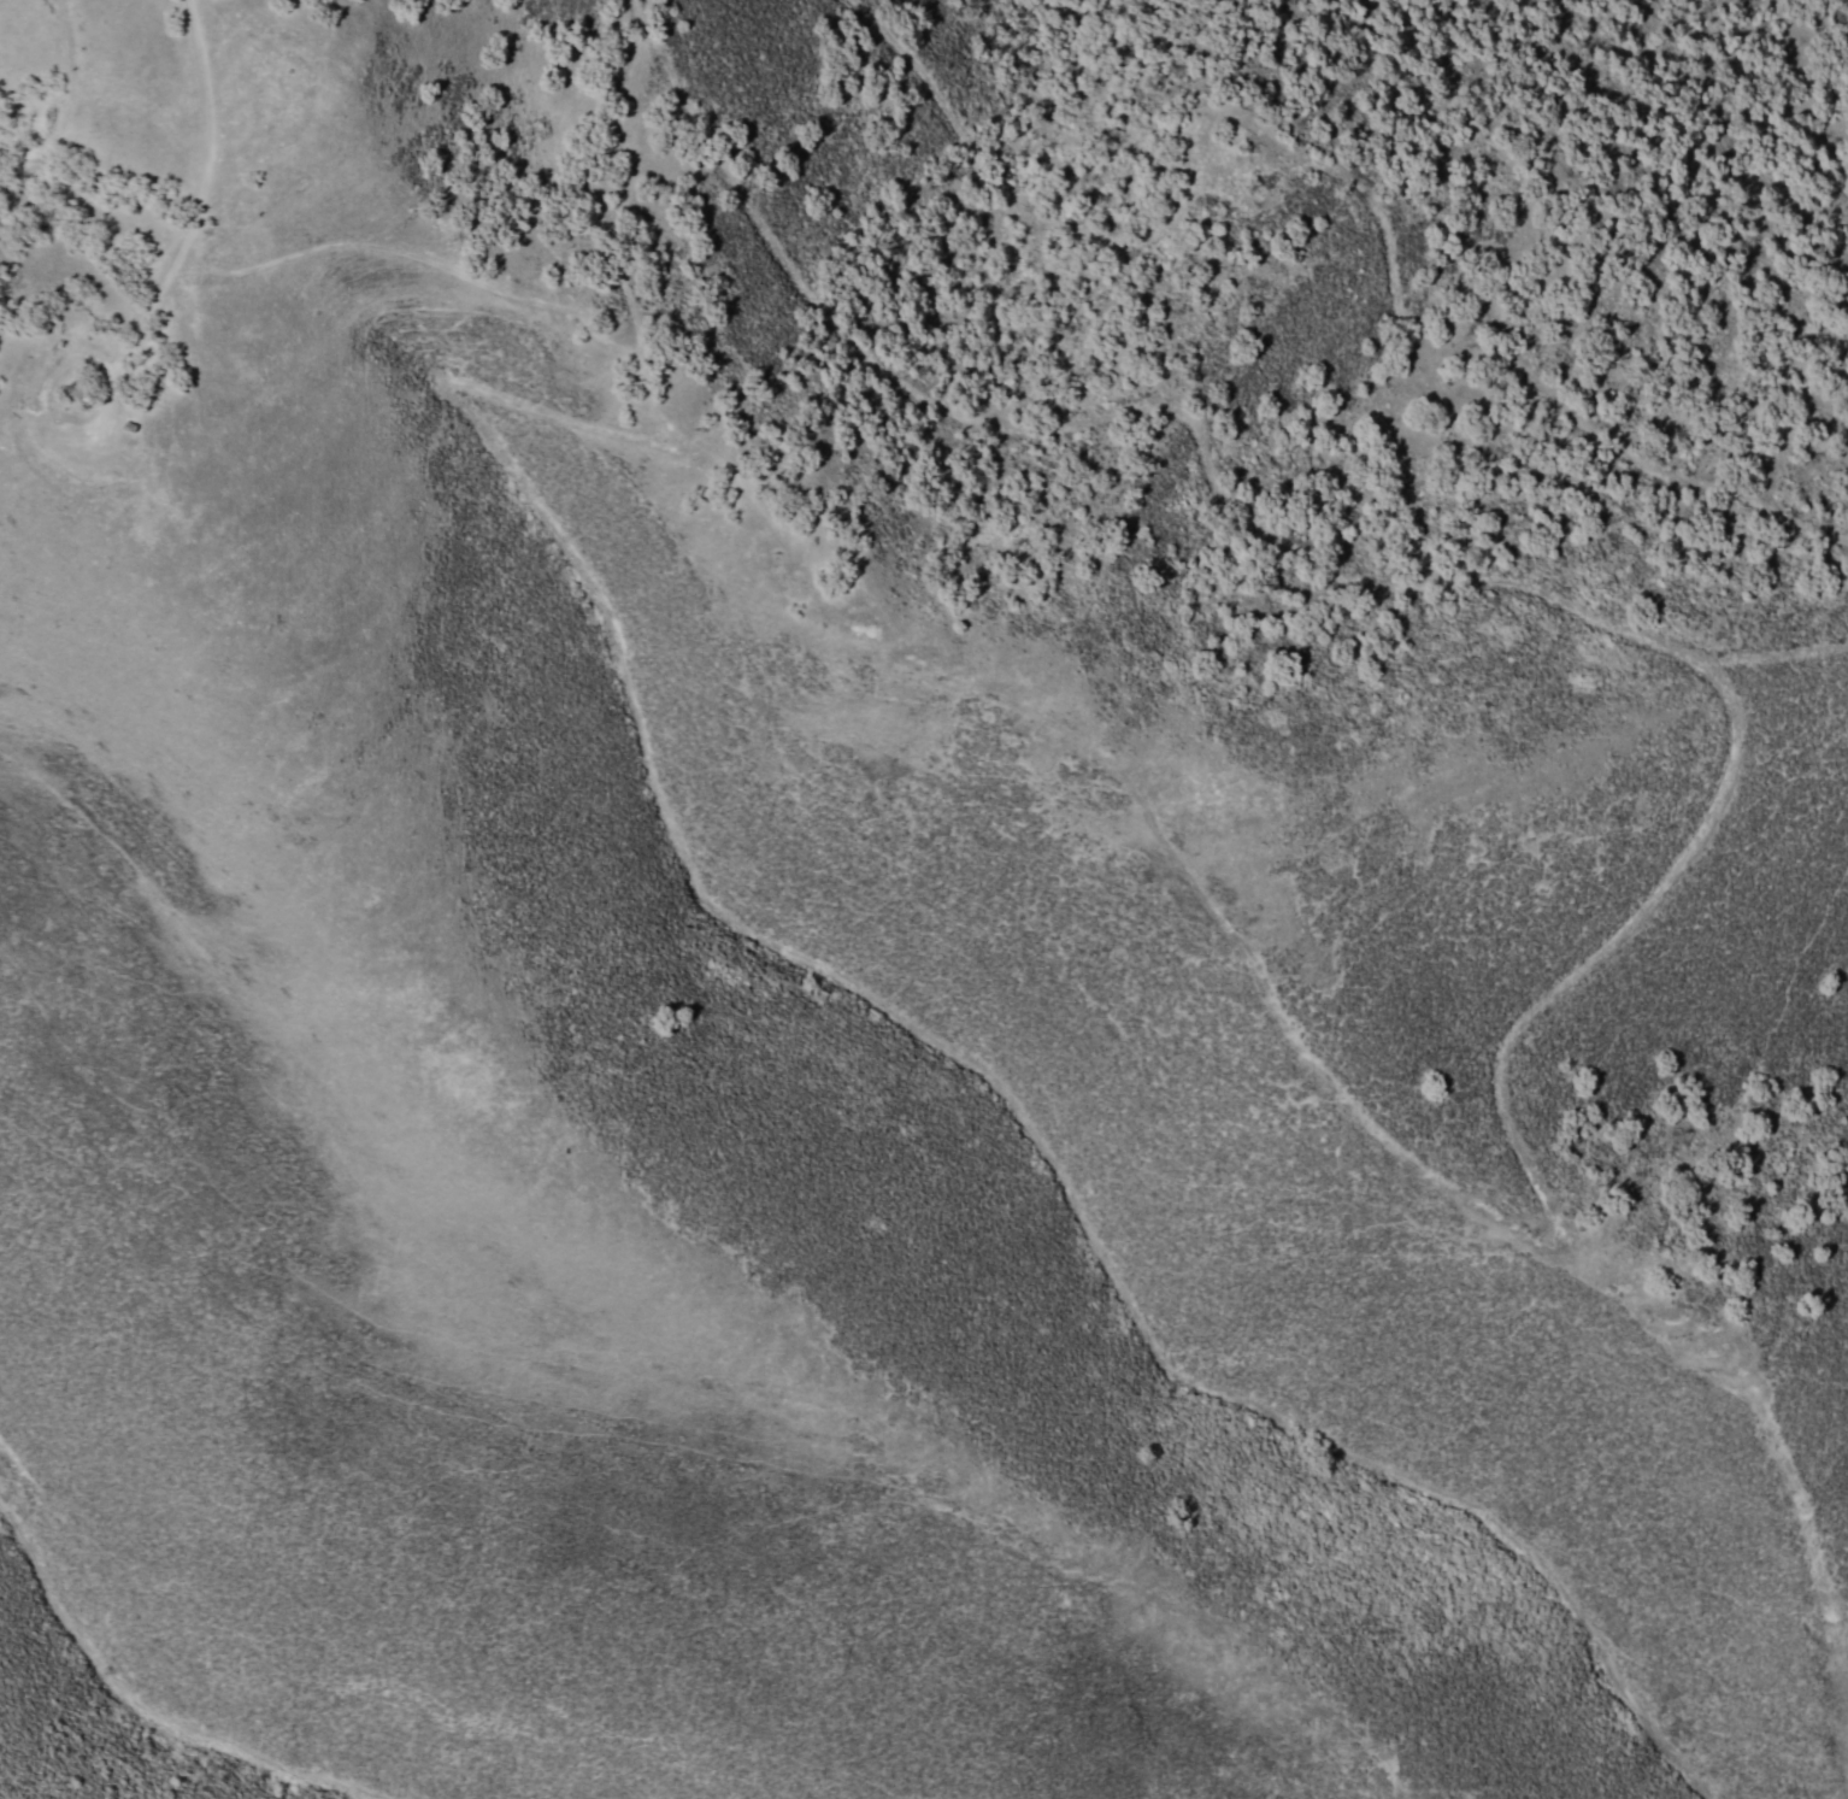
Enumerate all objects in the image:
road: (200, 188)
building: (83, 393)

